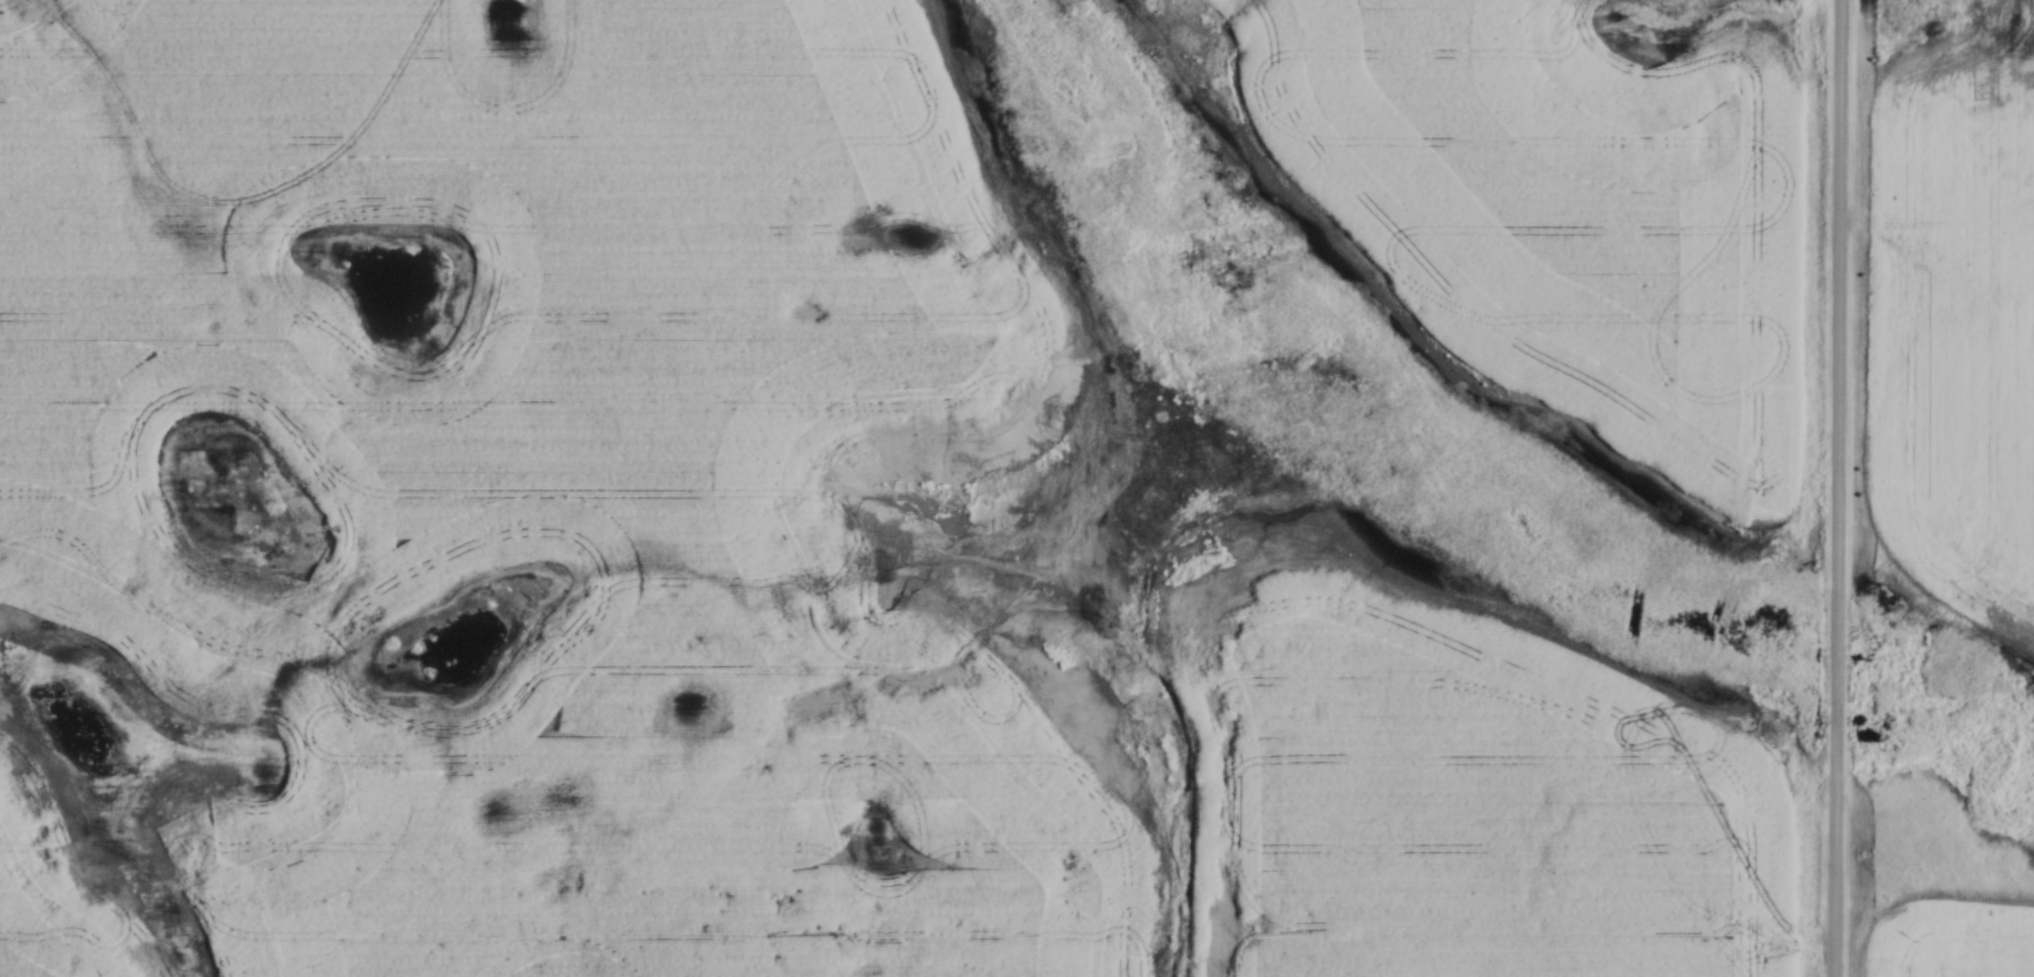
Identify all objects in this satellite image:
road: (1837, 488)

